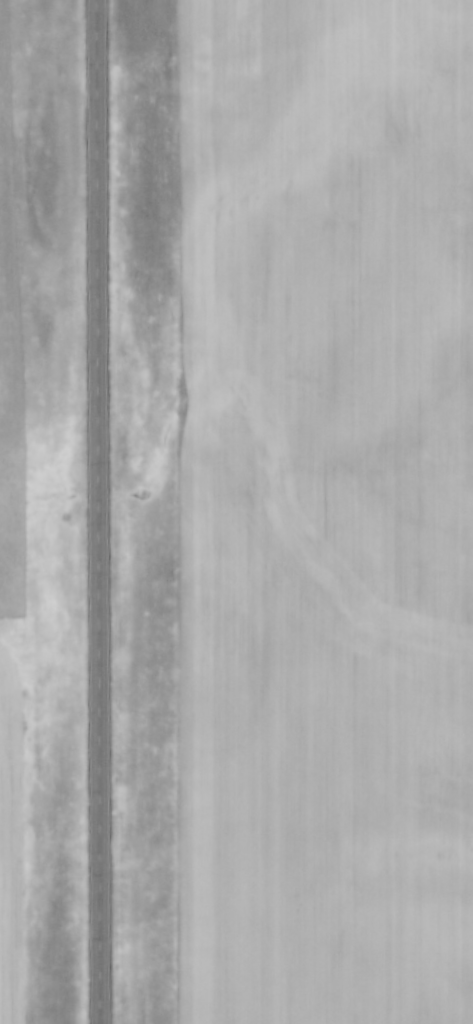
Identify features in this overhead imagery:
road: (101, 511)

